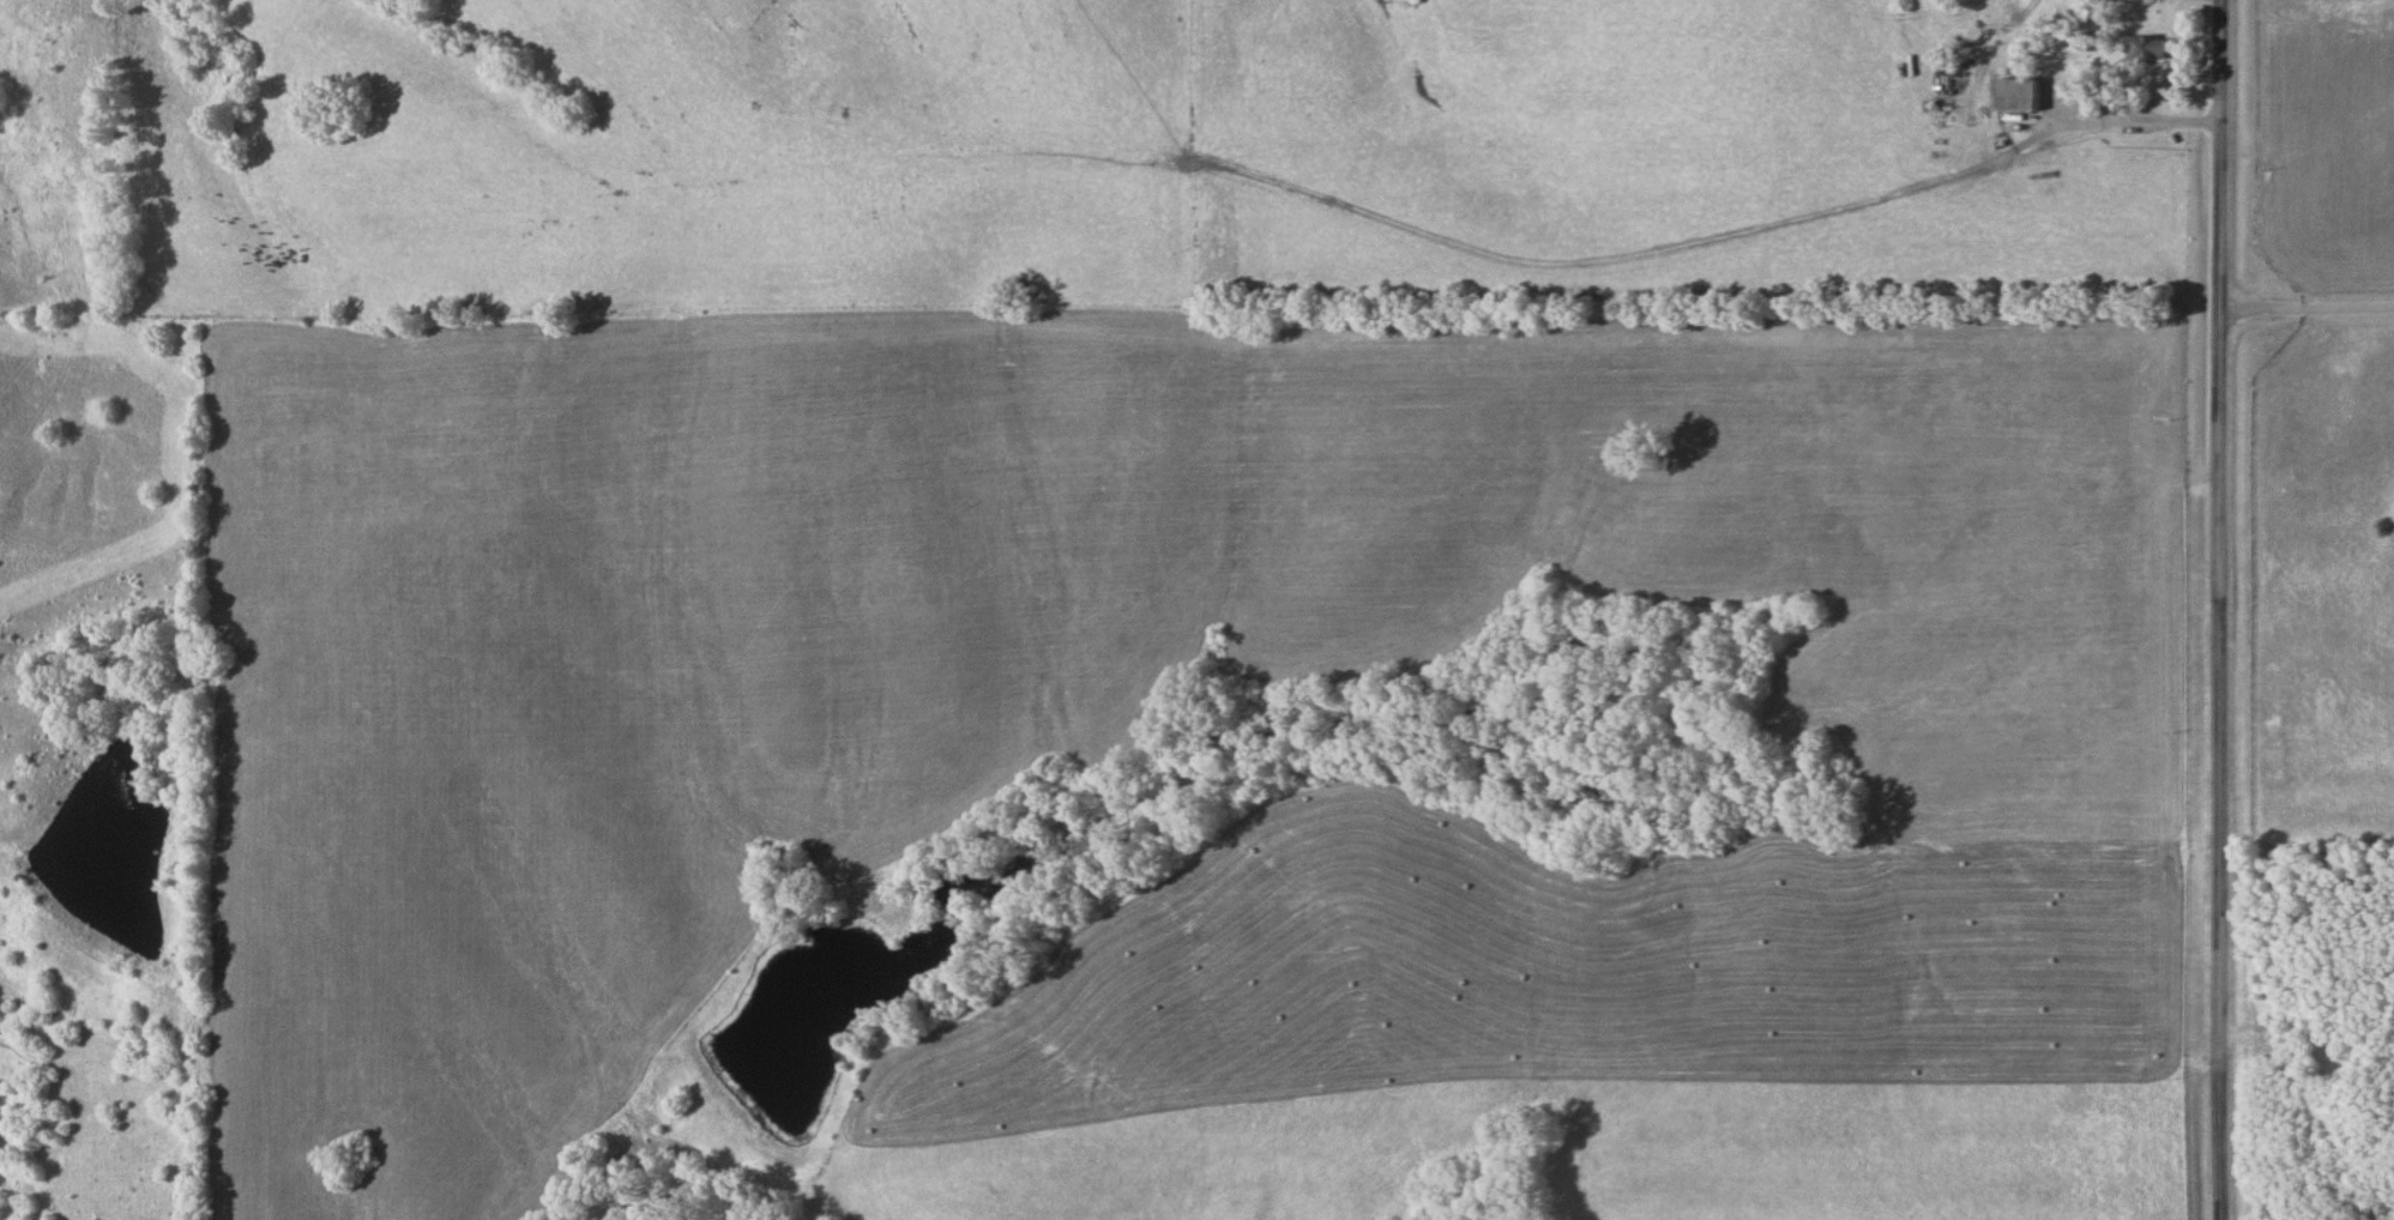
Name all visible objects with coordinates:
building: (2145, 49)
building: (2086, 109)
road: (2306, 313)
road: (2218, 610)

